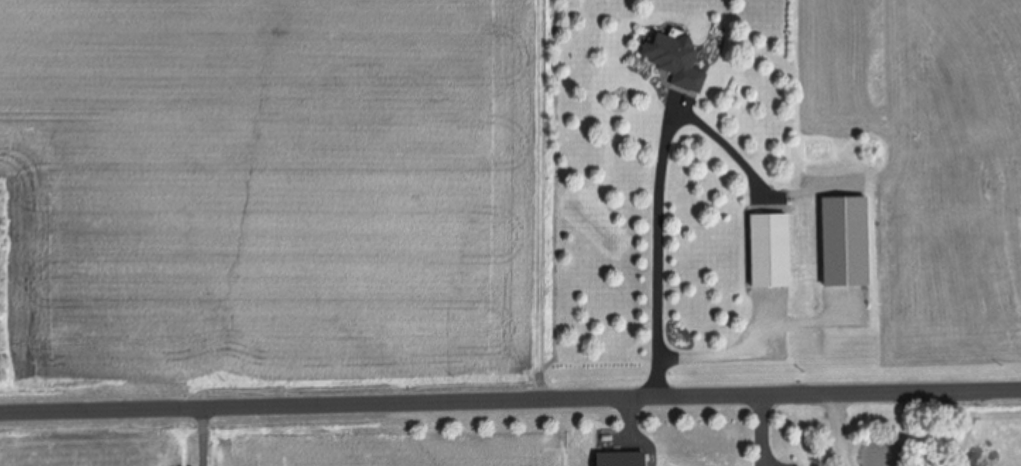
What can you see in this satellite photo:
building: (678, 60)
crop: (270, 198)
road: (660, 238)
building: (849, 241)
building: (773, 250)
road: (716, 353)
road: (510, 400)
road: (839, 430)
road: (204, 436)

